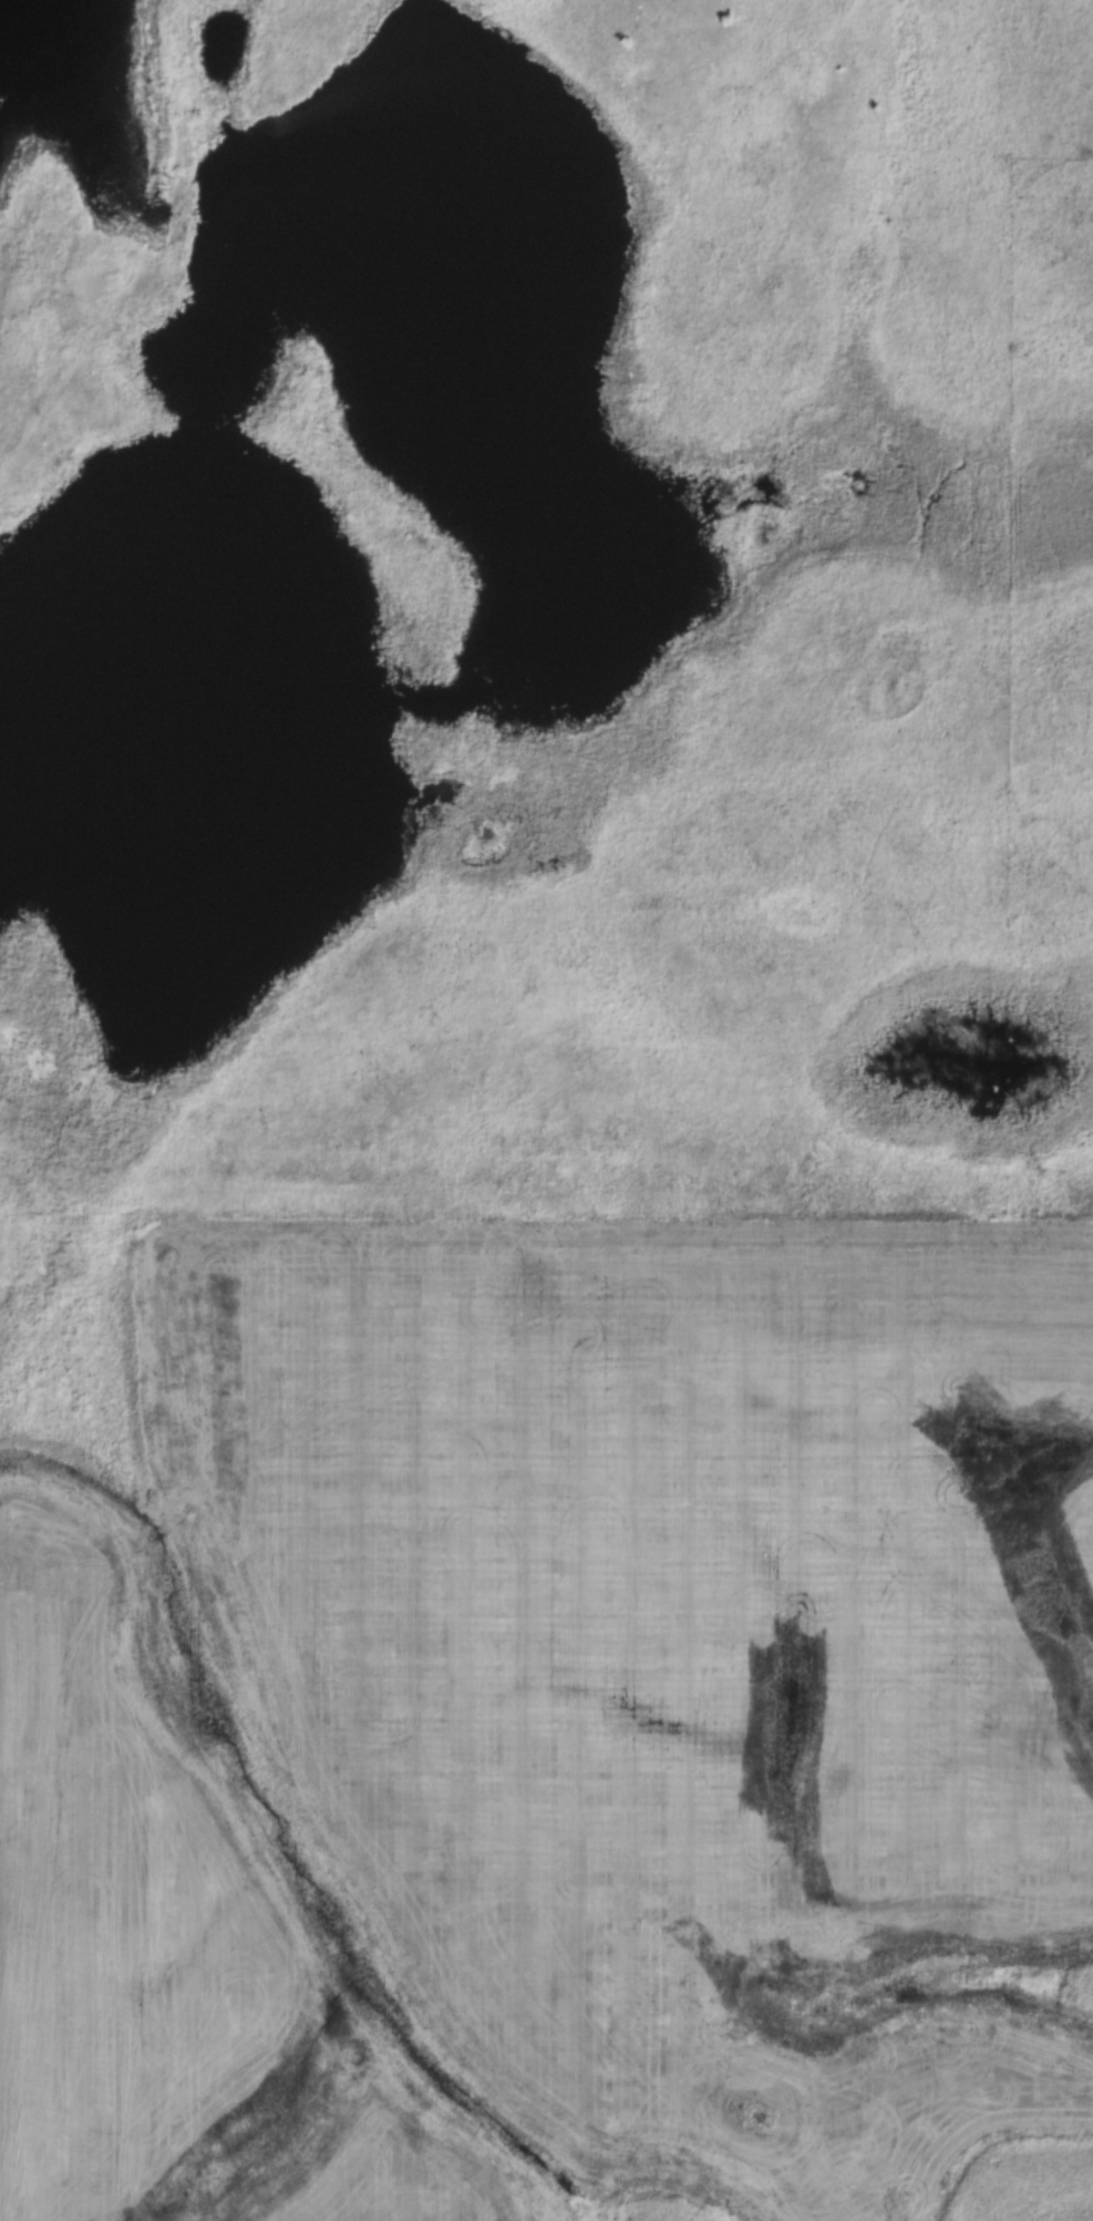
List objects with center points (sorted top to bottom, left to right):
road: (167, 266)

